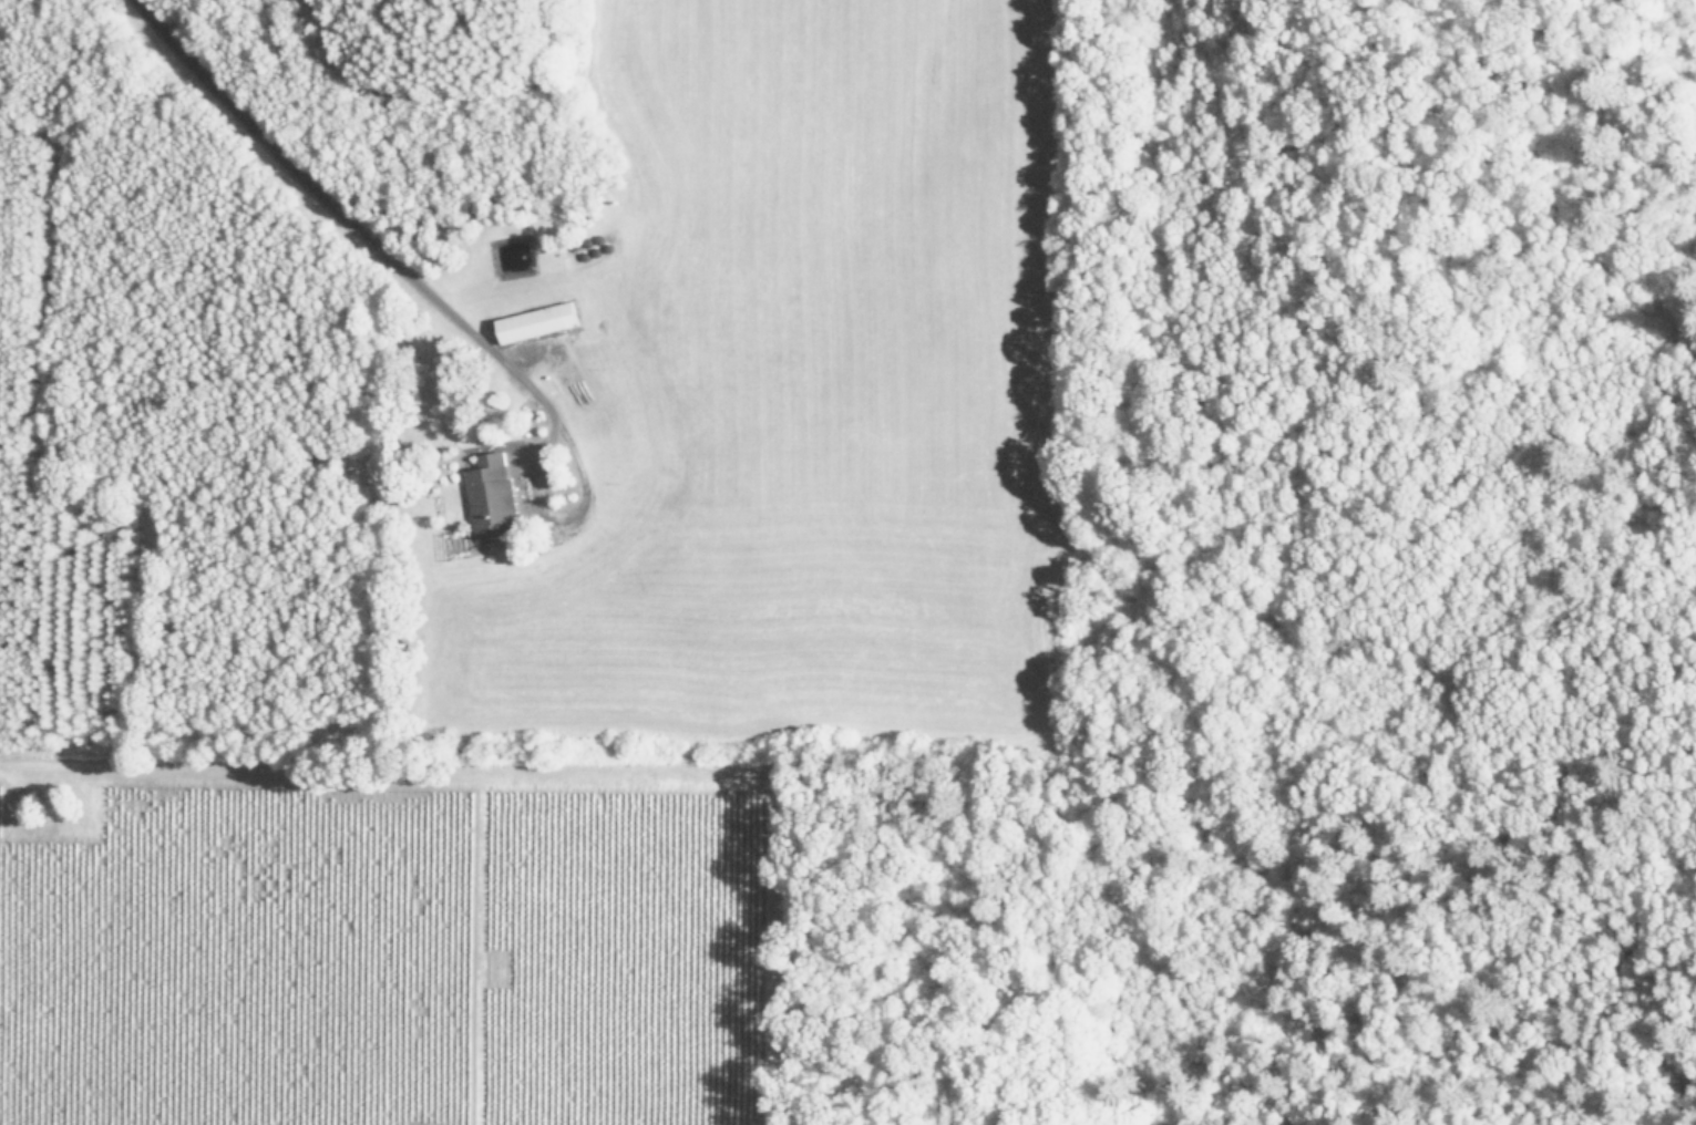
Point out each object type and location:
road: (336, 211)
building: (541, 321)
building: (495, 496)

